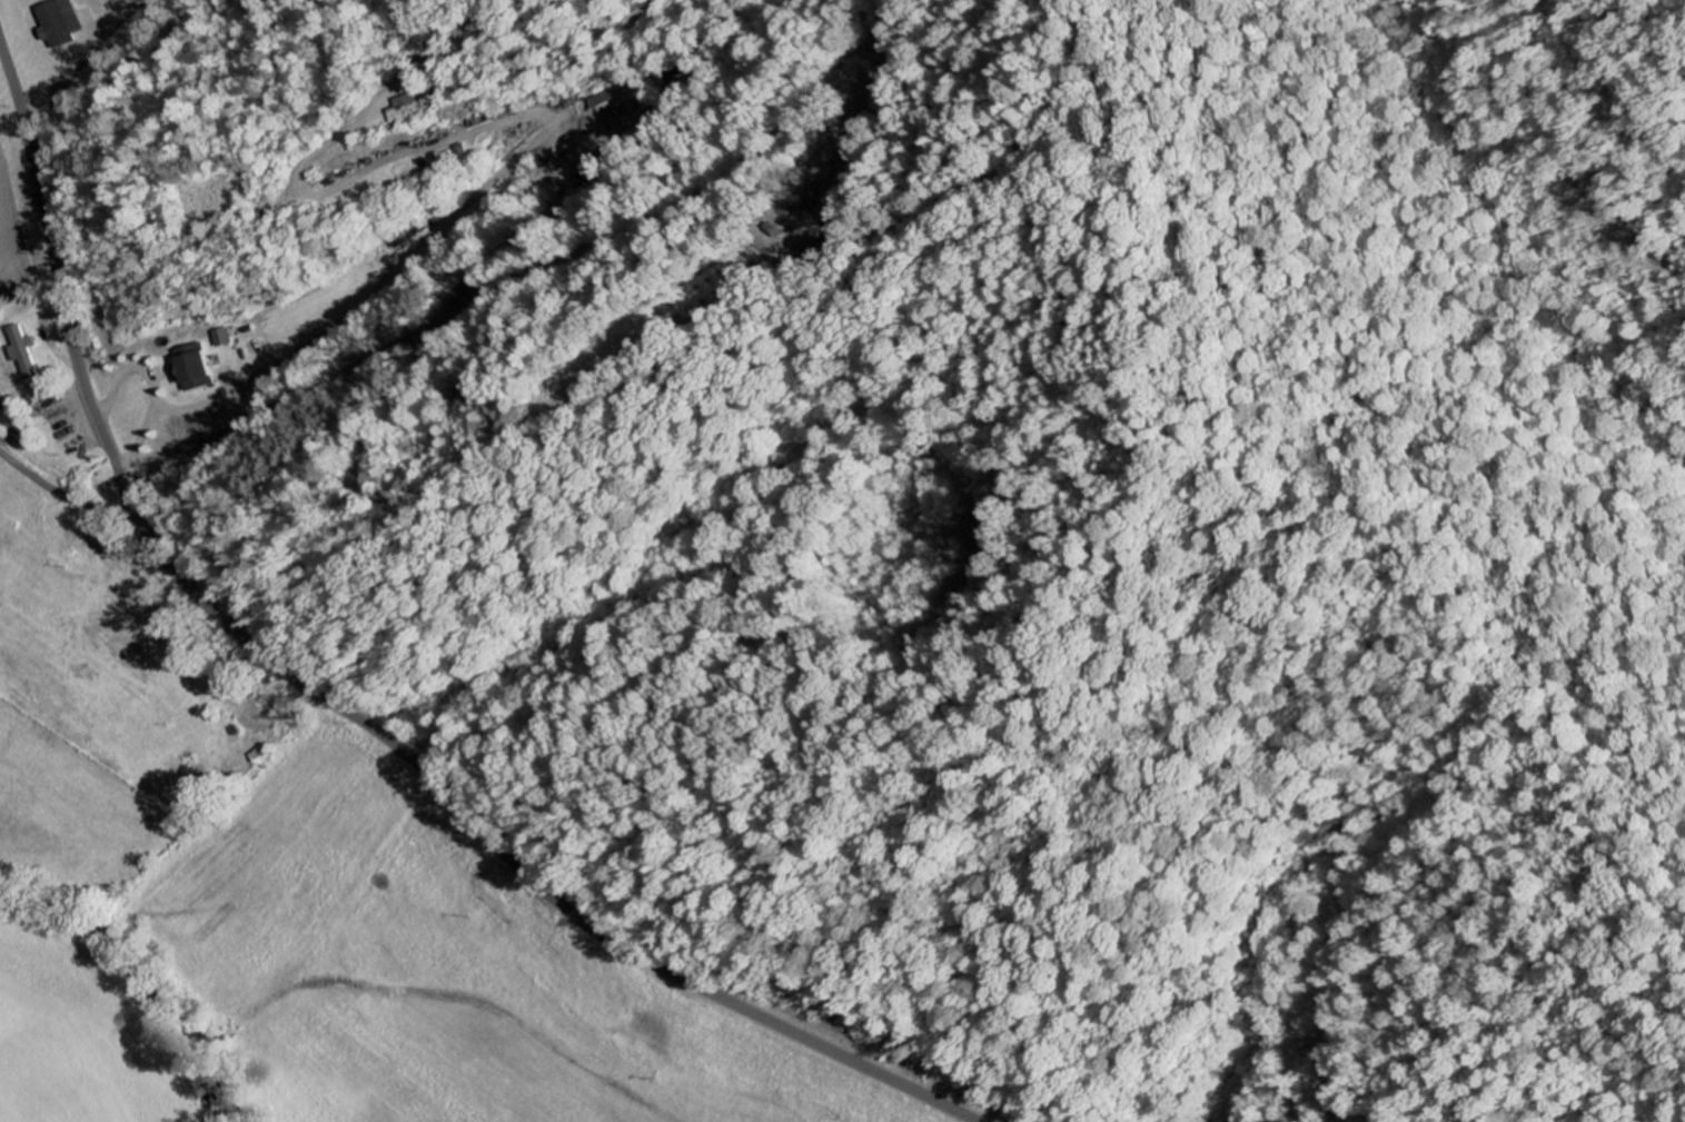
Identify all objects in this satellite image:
building: (57, 24)
building: (410, 109)
building: (218, 339)
building: (22, 354)
building: (188, 369)
road: (68, 498)
road: (335, 705)

